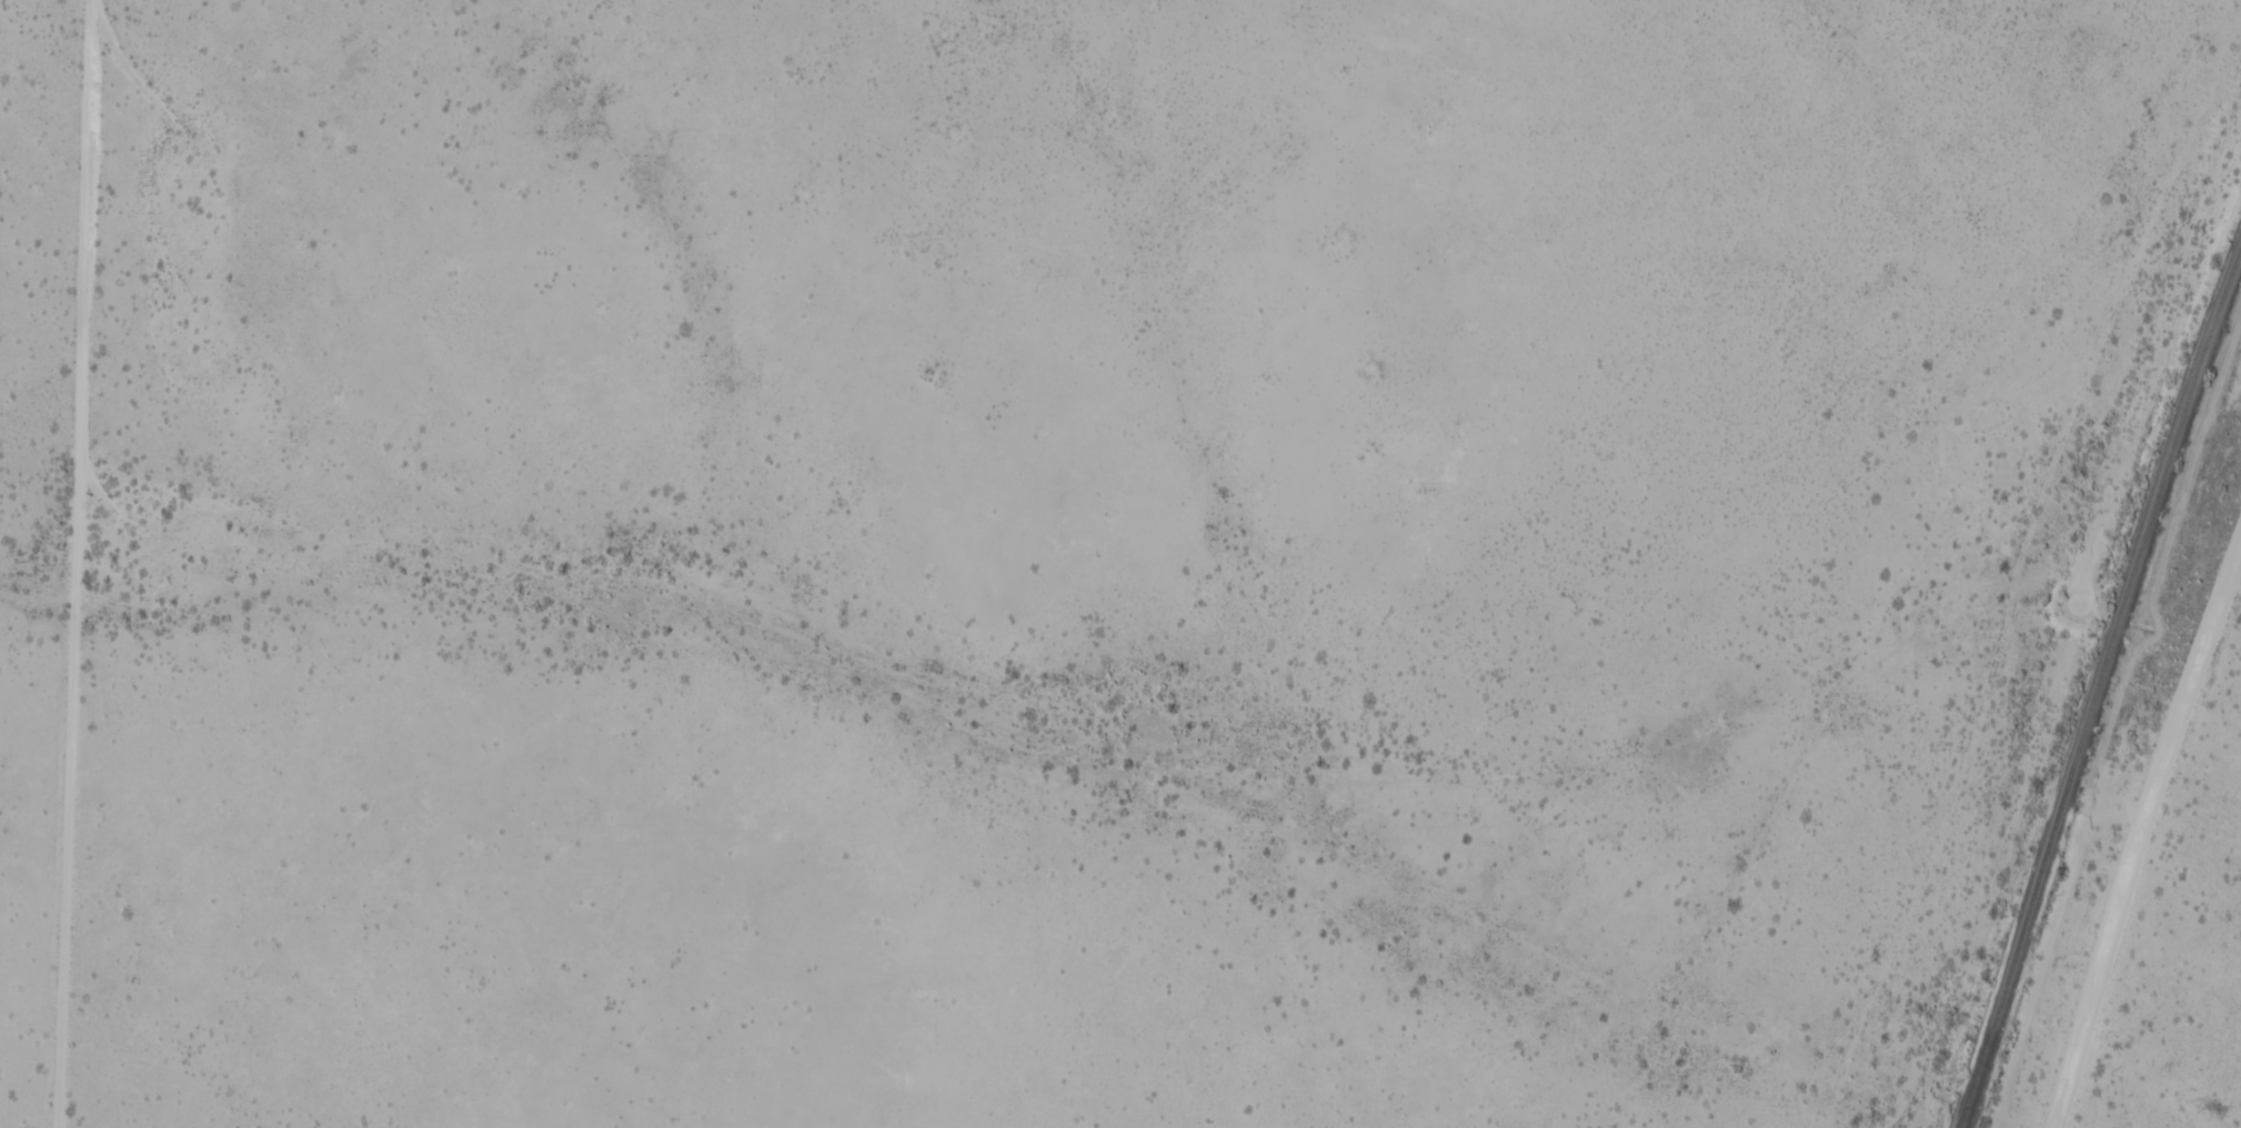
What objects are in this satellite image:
railway: (2100, 683)
road: (2140, 832)

